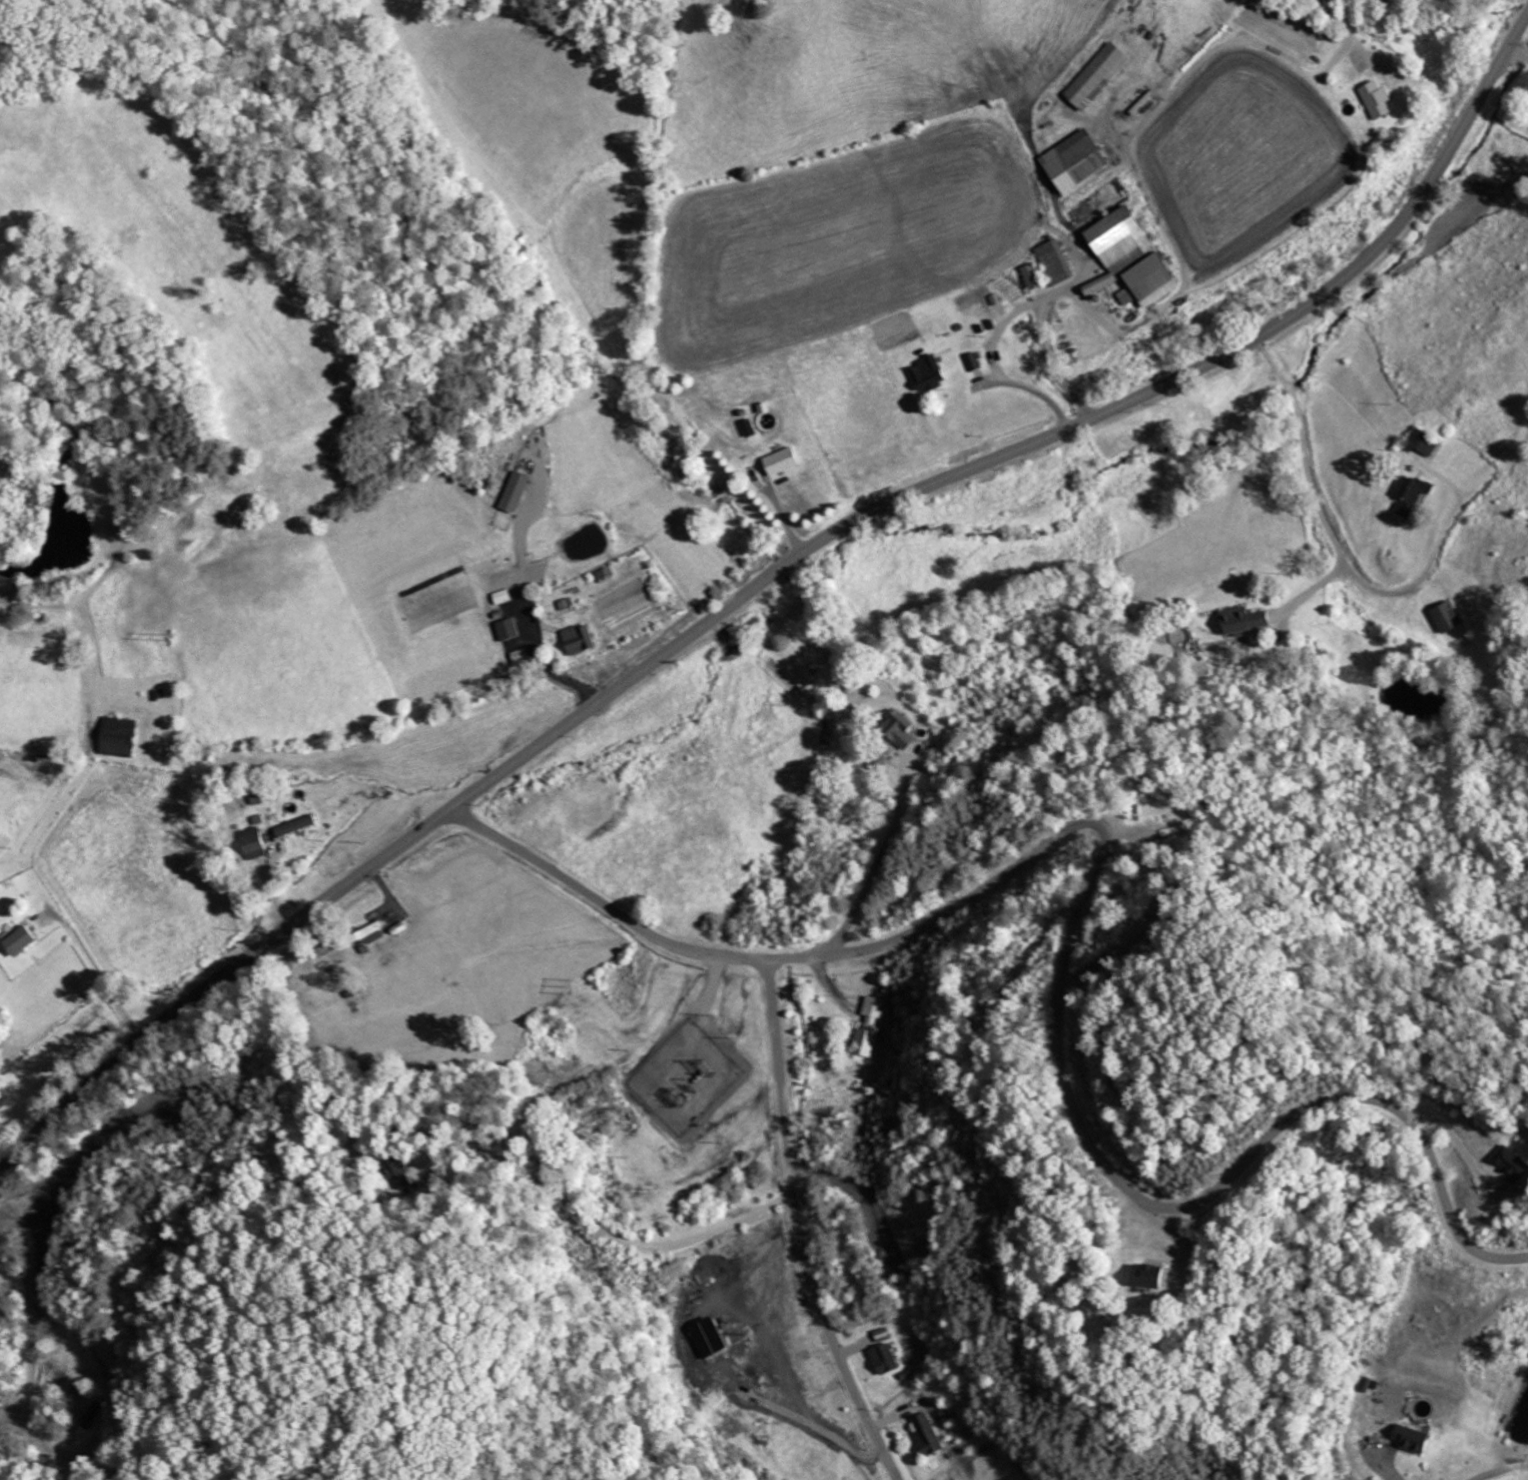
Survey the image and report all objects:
building: (1100, 76)
building: (1381, 101)
building: (1080, 161)
building: (1136, 260)
building: (1059, 263)
building: (1037, 277)
building: (932, 373)
building: (1425, 442)
building: (786, 460)
building: (518, 491)
road: (768, 578)
building: (504, 596)
building: (1450, 617)
building: (1247, 619)
building: (511, 629)
power tower: (175, 634)
building: (584, 639)
building: (905, 729)
building: (121, 737)
building: (299, 826)
building: (256, 843)
road: (880, 860)
road: (603, 904)
building: (373, 933)
building: (24, 941)
power tower: (571, 985)
building: (872, 1026)
power substation: (687, 1075)
power tower: (677, 1088)
road: (1083, 1123)
building: (1520, 1161)
building: (401, 1174)
road: (800, 1229)
building: (1156, 1276)
building: (887, 1334)
building: (715, 1338)
building: (890, 1359)
building: (932, 1435)
building: (1417, 1439)

